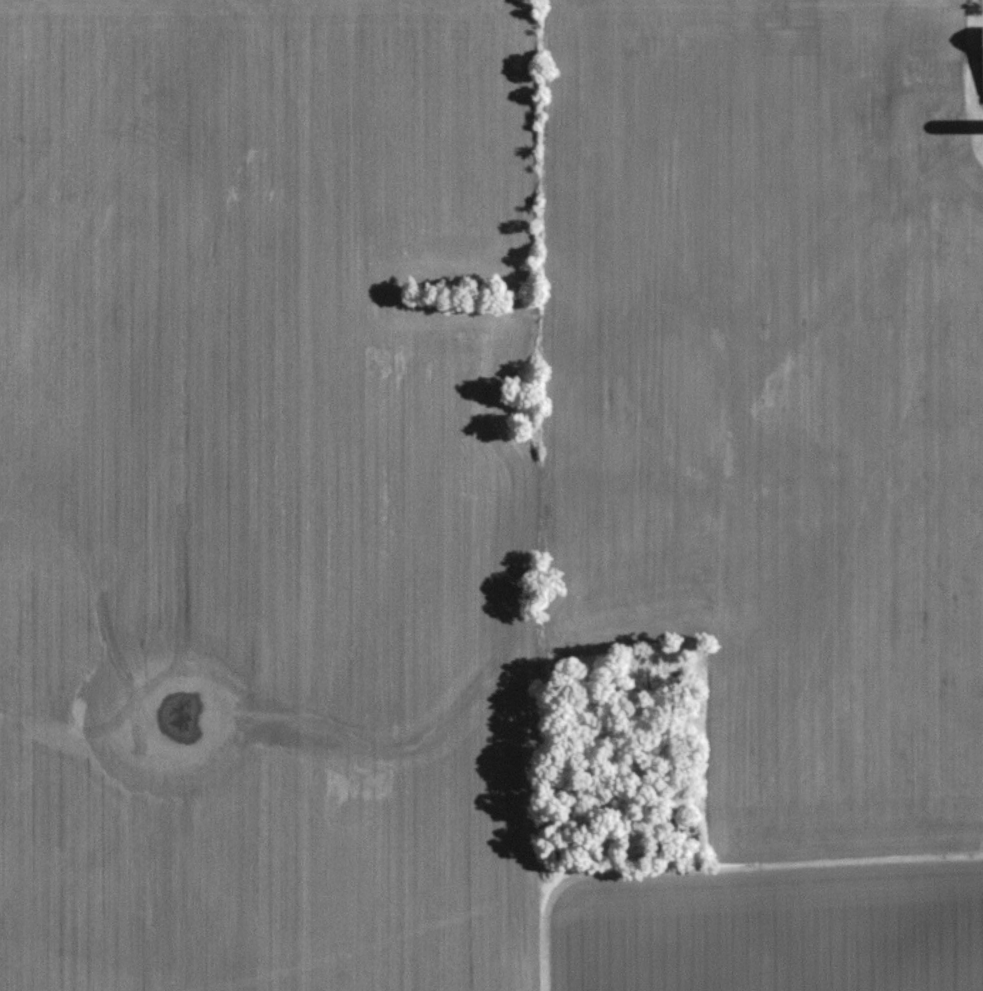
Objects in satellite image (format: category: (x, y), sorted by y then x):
crop: (779, 395)
crop: (265, 495)
crop: (766, 921)

